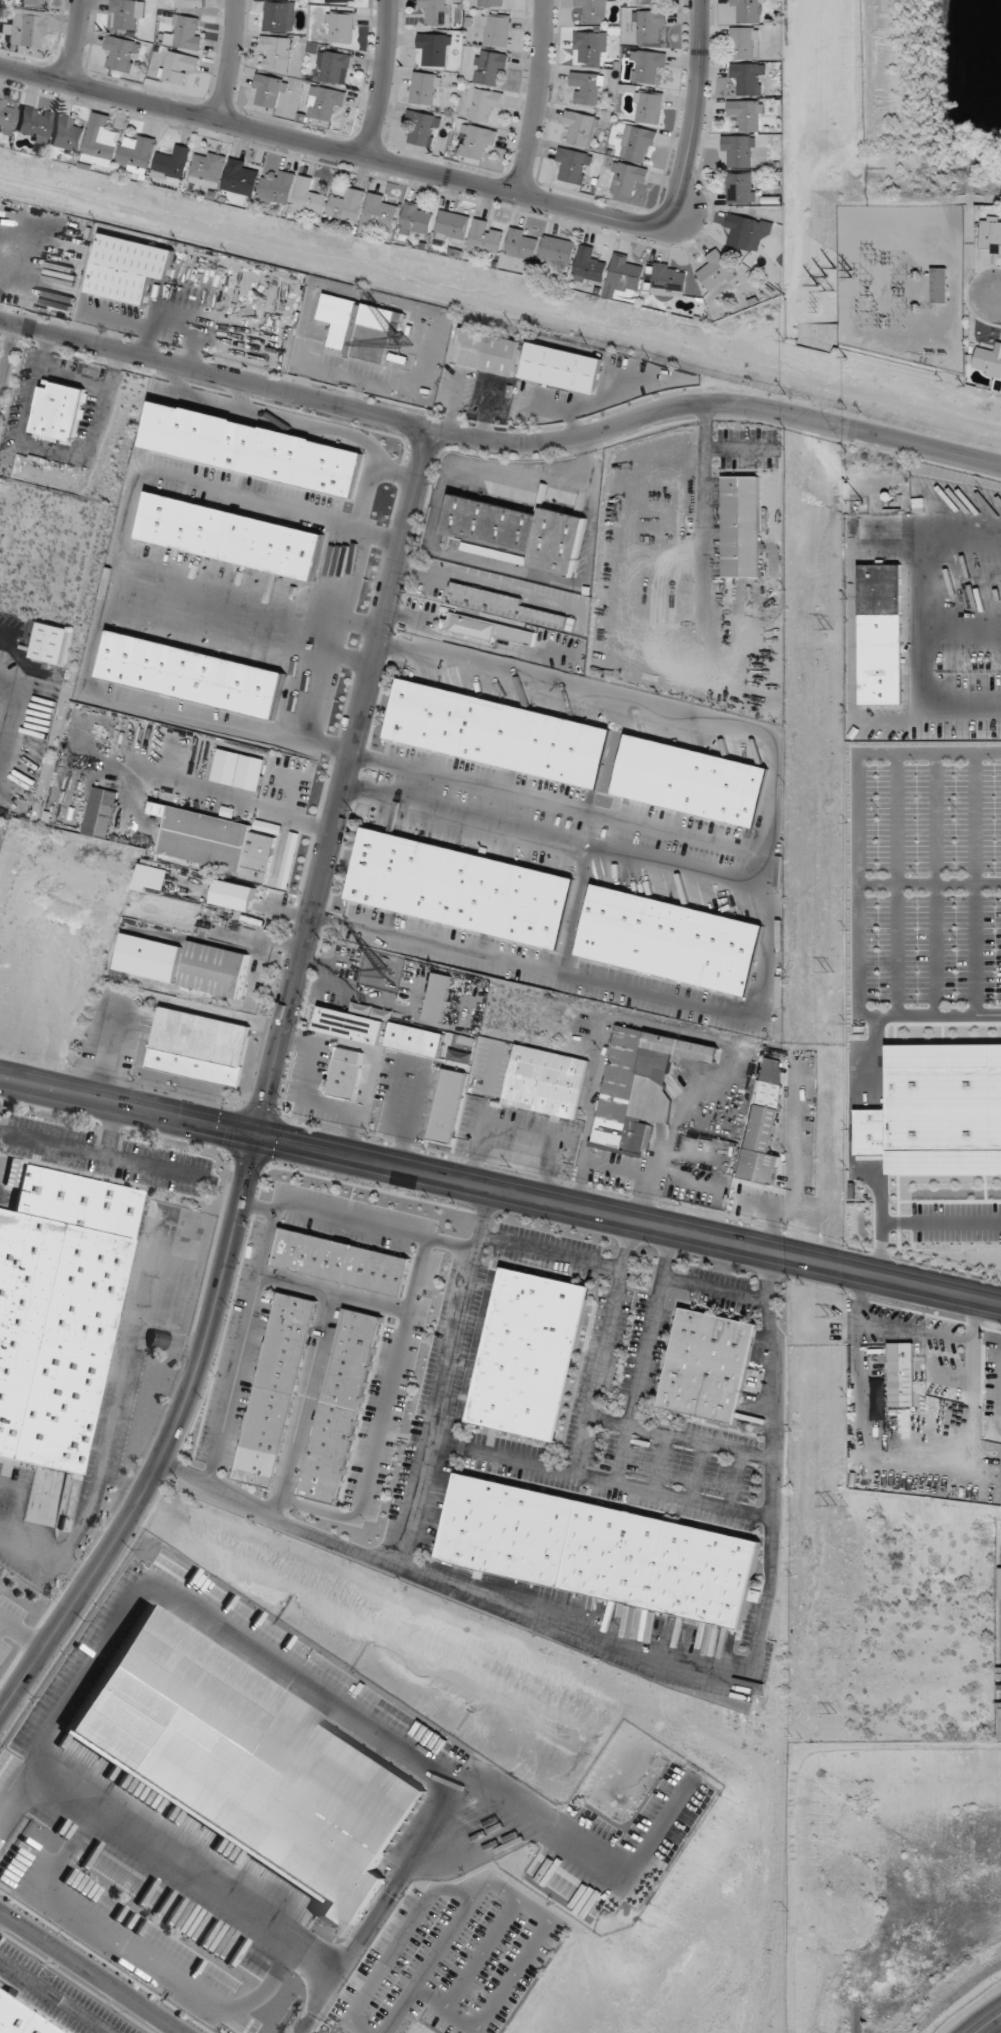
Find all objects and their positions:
building: (338, 0)
building: (31, 1)
building: (650, 1)
building: (190, 3)
building: (490, 3)
building: (436, 10)
building: (592, 10)
building: (748, 10)
building: (126, 13)
building: (279, 16)
building: (650, 26)
building: (340, 27)
building: (26, 28)
building: (496, 30)
building: (185, 34)
road: (77, 41)
building: (743, 43)
building: (591, 46)
building: (434, 49)
building: (276, 52)
building: (122, 53)
road: (230, 60)
building: (647, 65)
building: (176, 66)
building: (489, 66)
building: (333, 68)
building: (749, 78)
road: (382, 79)
building: (588, 87)
building: (424, 88)
building: (267, 90)
road: (536, 97)
building: (324, 103)
building: (482, 103)
building: (648, 107)
building: (6, 114)
building: (746, 114)
building: (33, 123)
building: (423, 128)
building: (581, 128)
building: (66, 135)
building: (102, 140)
building: (475, 141)
building: (638, 144)
building: (738, 150)
building: (137, 152)
building: (173, 163)
building: (574, 165)
building: (208, 169)
road: (441, 175)
building: (241, 177)
building: (629, 179)
building: (278, 187)
building: (741, 188)
building: (310, 197)
building: (348, 205)
building: (381, 212)
building: (417, 219)
building: (453, 227)
building: (740, 231)
building: (990, 233)
building: (486, 238)
building: (523, 244)
building: (558, 250)
building: (590, 266)
building: (129, 267)
building: (715, 270)
building: (623, 275)
building: (669, 280)
power substation: (906, 281)
building: (939, 285)
road: (996, 297)
building: (364, 330)
building: (487, 352)
road: (7, 355)
building: (988, 359)
building: (563, 368)
road: (72, 379)
road: (191, 398)
building: (59, 411)
road: (302, 424)
road: (499, 441)
road: (52, 447)
building: (252, 449)
road: (504, 469)
building: (921, 493)
building: (741, 526)
building: (520, 532)
building: (883, 532)
building: (231, 535)
road: (101, 577)
road: (337, 585)
road: (492, 586)
road: (242, 603)
building: (501, 605)
building: (488, 630)
road: (9, 632)
building: (880, 633)
building: (47, 641)
building: (951, 654)
building: (970, 657)
road: (346, 662)
building: (192, 674)
road: (634, 705)
building: (499, 733)
building: (250, 772)
building: (692, 781)
road: (233, 800)
building: (100, 812)
building: (215, 842)
road: (749, 875)
building: (461, 888)
building: (234, 894)
road: (576, 912)
building: (670, 940)
road: (769, 946)
building: (150, 957)
road: (536, 966)
building: (214, 969)
building: (438, 997)
building: (356, 1022)
building: (415, 1039)
building: (200, 1047)
building: (973, 1054)
building: (460, 1057)
building: (345, 1073)
building: (546, 1081)
road: (268, 1091)
building: (646, 1113)
building: (764, 1124)
road: (111, 1130)
traffic signals: (257, 1136)
road: (103, 1156)
road: (500, 1190)
road: (259, 1208)
road: (269, 1245)
road: (549, 1252)
building: (341, 1262)
road: (715, 1290)
road: (335, 1292)
road: (861, 1298)
building: (56, 1308)
road: (976, 1322)
road: (130, 1332)
road: (916, 1332)
road: (166, 1342)
road: (604, 1347)
building: (530, 1354)
road: (645, 1356)
building: (708, 1365)
building: (900, 1375)
road: (441, 1377)
road: (775, 1384)
building: (276, 1389)
road: (999, 1399)
road: (305, 1404)
building: (340, 1405)
road: (382, 1415)
road: (681, 1438)
road: (657, 1462)
road: (697, 1471)
road: (600, 1479)
road: (731, 1479)
road: (17, 1504)
building: (600, 1550)
road: (26, 1552)
road: (525, 1612)
road: (2, 1620)
road: (2, 1625)
road: (24, 1633)
building: (248, 1765)
road: (447, 1889)
road: (217, 1896)
road: (1, 1915)
road: (91, 1971)
road: (52, 1997)
building: (19, 2020)
road: (987, 2023)
road: (174, 2030)

